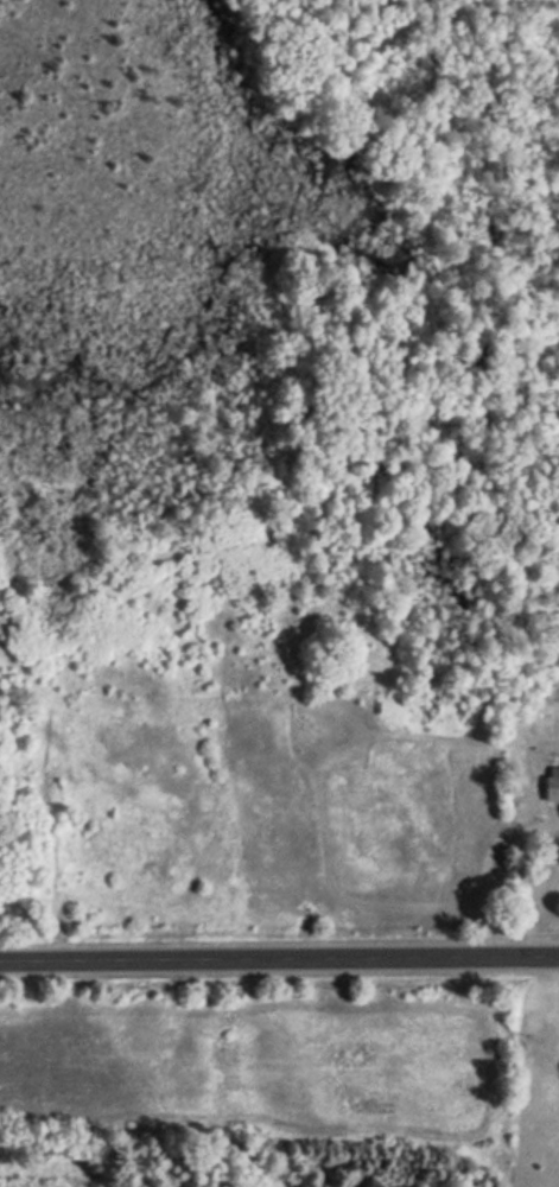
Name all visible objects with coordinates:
building: (551, 787)
road: (279, 957)

